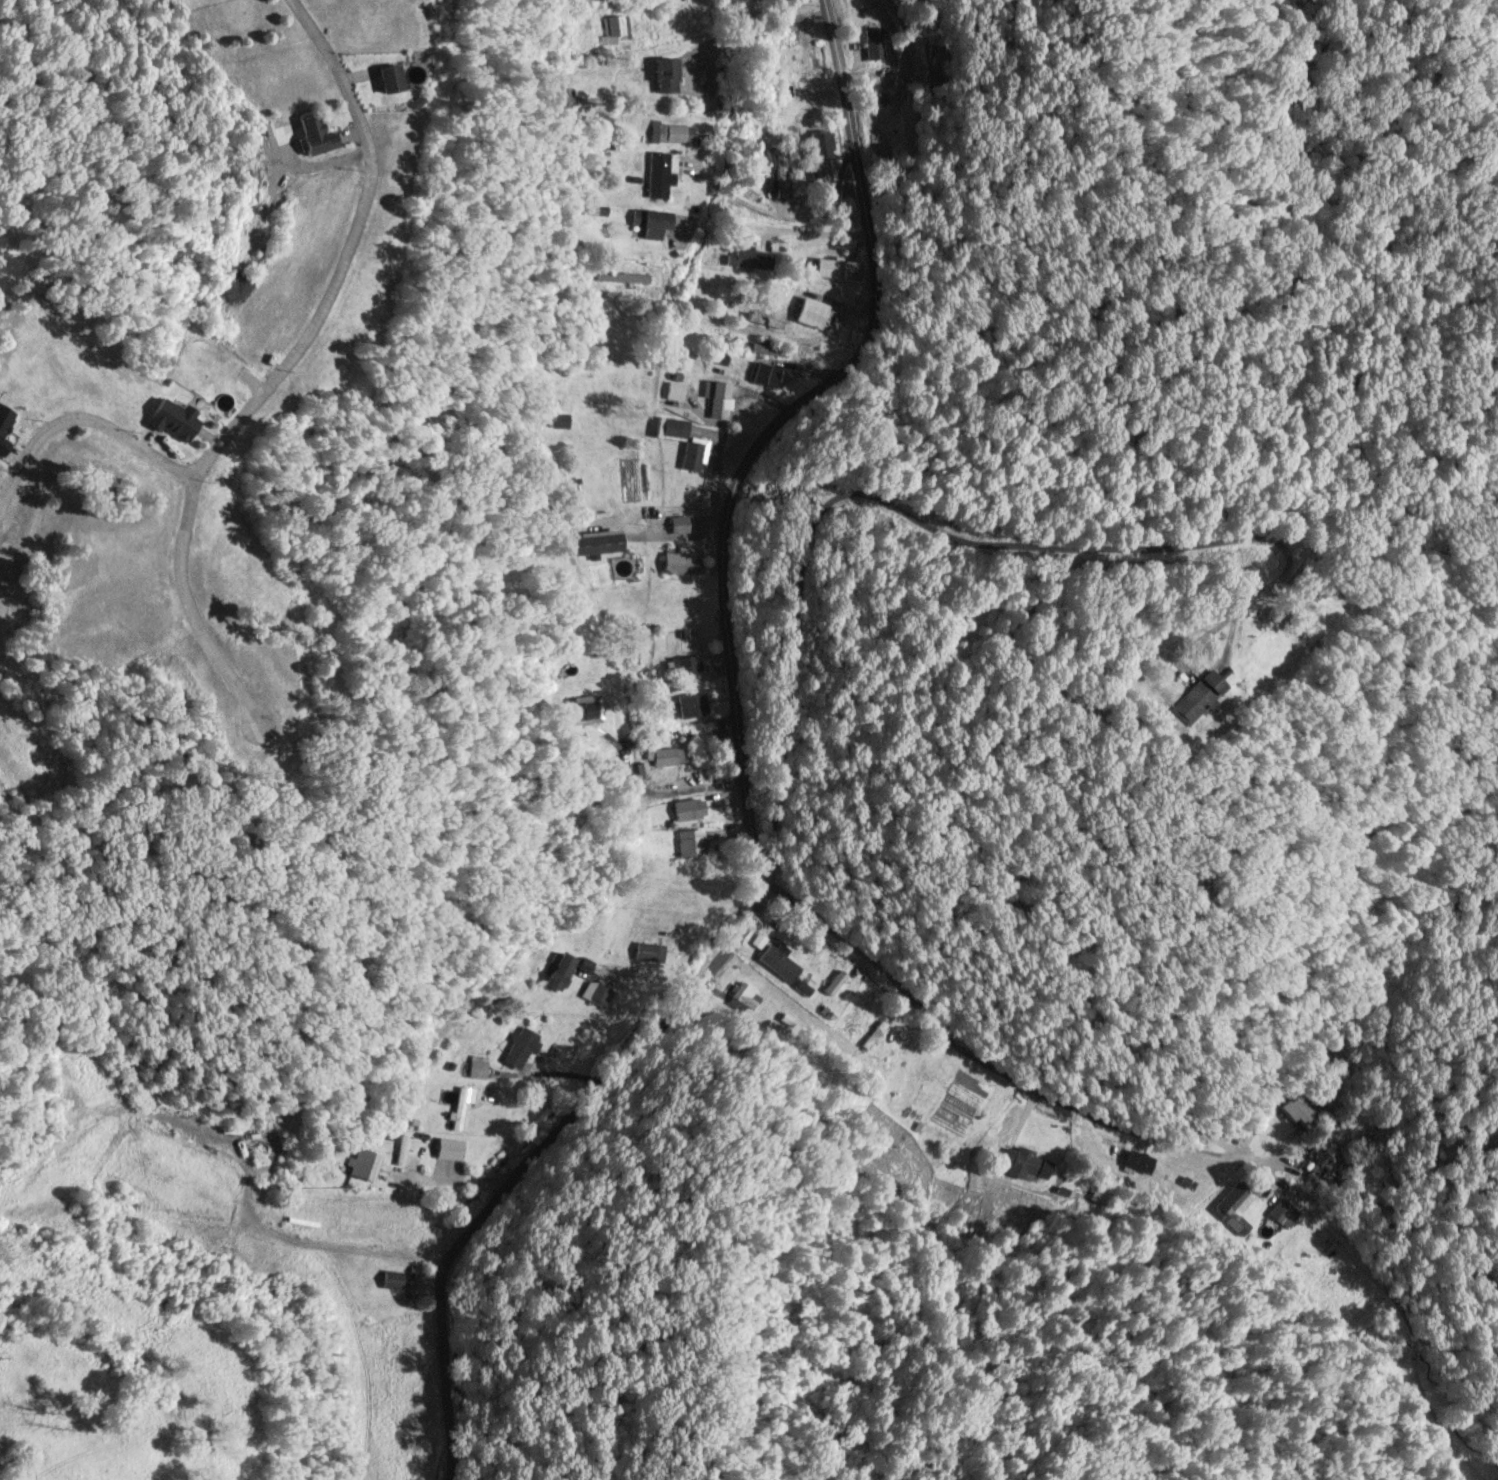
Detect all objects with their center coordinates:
building: (615, 26)
building: (876, 43)
building: (659, 75)
building: (382, 78)
building: (672, 133)
building: (312, 135)
building: (818, 144)
building: (657, 175)
building: (649, 222)
road: (763, 226)
road: (849, 232)
road: (865, 232)
building: (750, 258)
building: (837, 268)
building: (808, 312)
road: (278, 368)
building: (765, 374)
building: (672, 391)
building: (719, 400)
road: (82, 416)
building: (166, 419)
building: (554, 420)
building: (667, 428)
building: (693, 453)
building: (678, 524)
building: (592, 542)
building: (678, 563)
building: (686, 665)
building: (1196, 697)
building: (690, 704)
building: (583, 710)
building: (712, 728)
building: (663, 756)
road: (741, 769)
road: (651, 790)
building: (687, 809)
building: (691, 842)
building: (704, 891)
building: (774, 960)
building: (556, 971)
building: (834, 985)
building: (599, 994)
building: (857, 1013)
building: (873, 1034)
building: (519, 1048)
road: (982, 1057)
building: (475, 1066)
building: (1297, 1108)
building: (456, 1120)
building: (401, 1148)
building: (1324, 1155)
building: (1139, 1161)
building: (1026, 1162)
building: (360, 1163)
building: (1234, 1205)
building: (1283, 1212)
building: (388, 1279)

